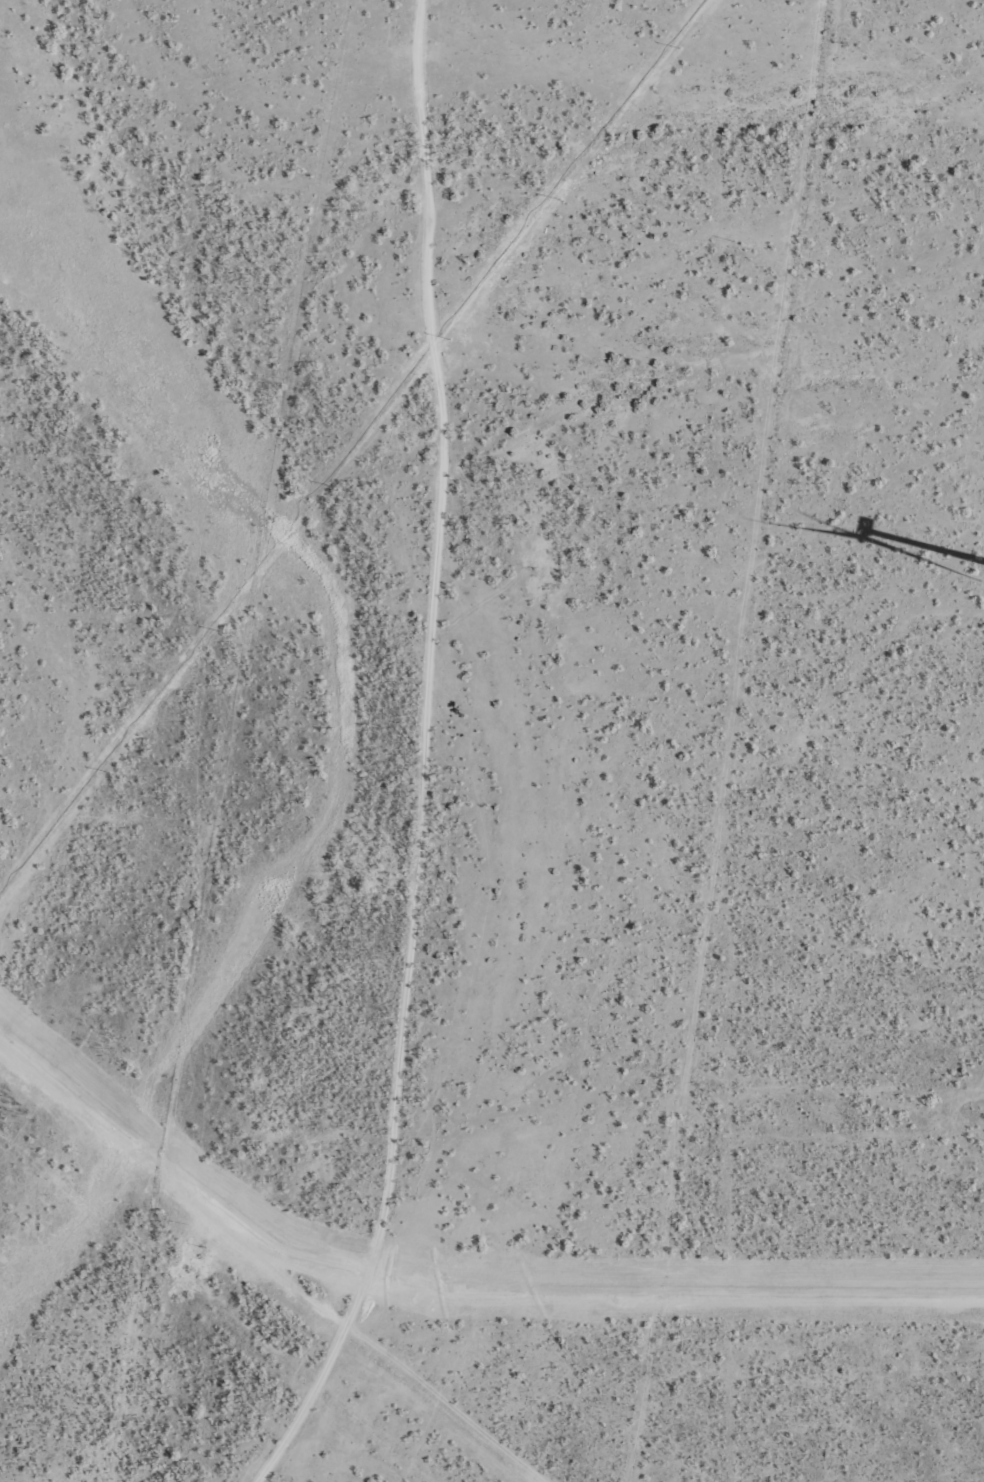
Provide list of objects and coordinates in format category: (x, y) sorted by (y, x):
road: (424, 757)

